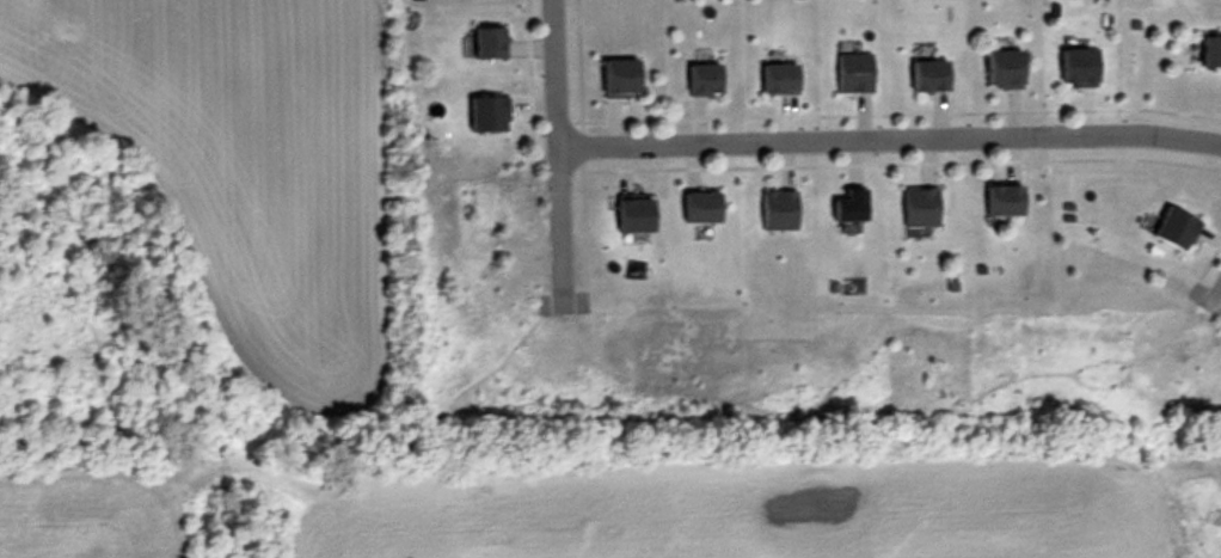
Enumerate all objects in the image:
building: (489, 44)
building: (1211, 53)
building: (1080, 68)
building: (1005, 69)
building: (853, 73)
building: (929, 76)
building: (621, 79)
building: (704, 80)
building: (779, 80)
building: (489, 115)
road: (886, 140)
road: (553, 153)
building: (1004, 202)
building: (851, 207)
building: (702, 208)
building: (920, 208)
building: (779, 211)
building: (636, 216)
building: (1176, 229)
road: (1215, 295)

